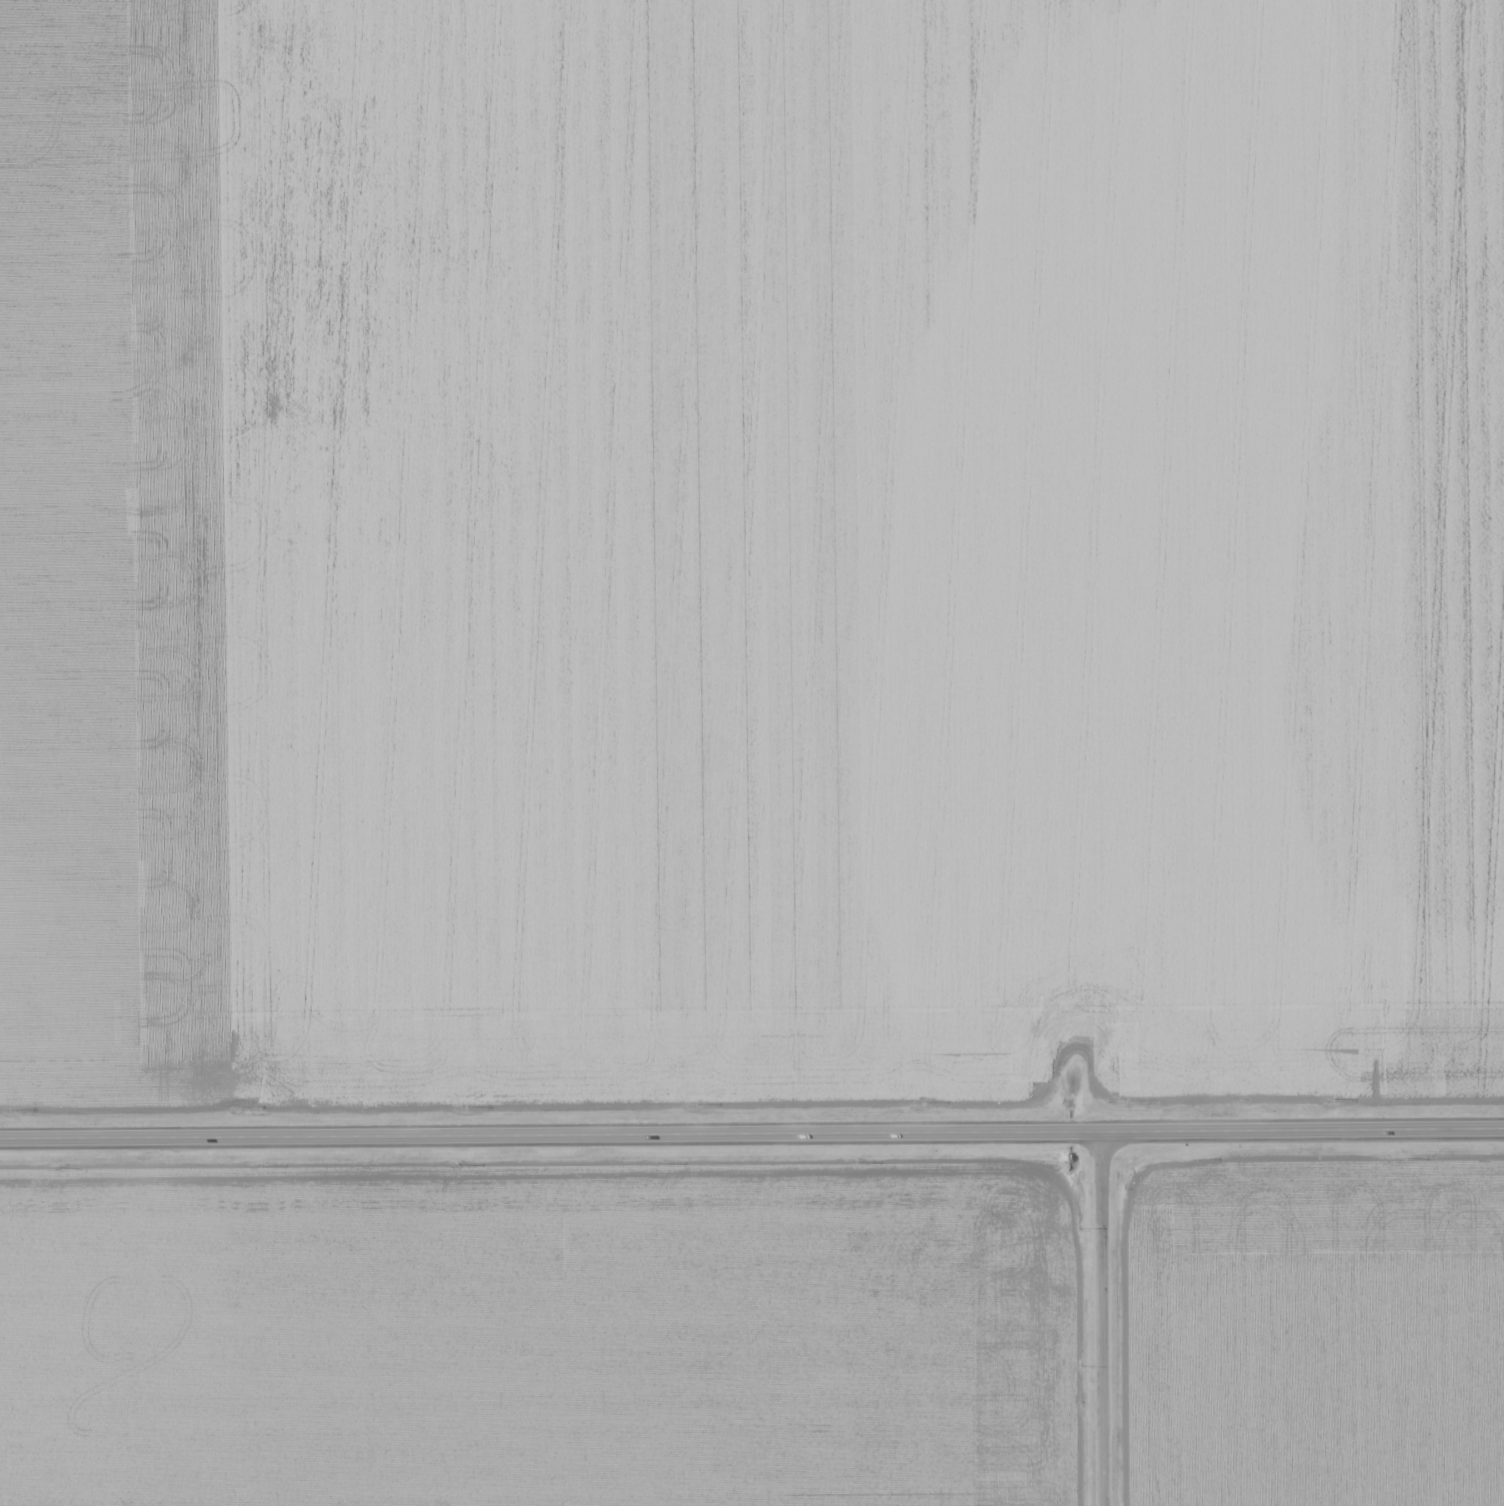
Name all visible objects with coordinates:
road: (752, 1134)
road: (1100, 1319)

